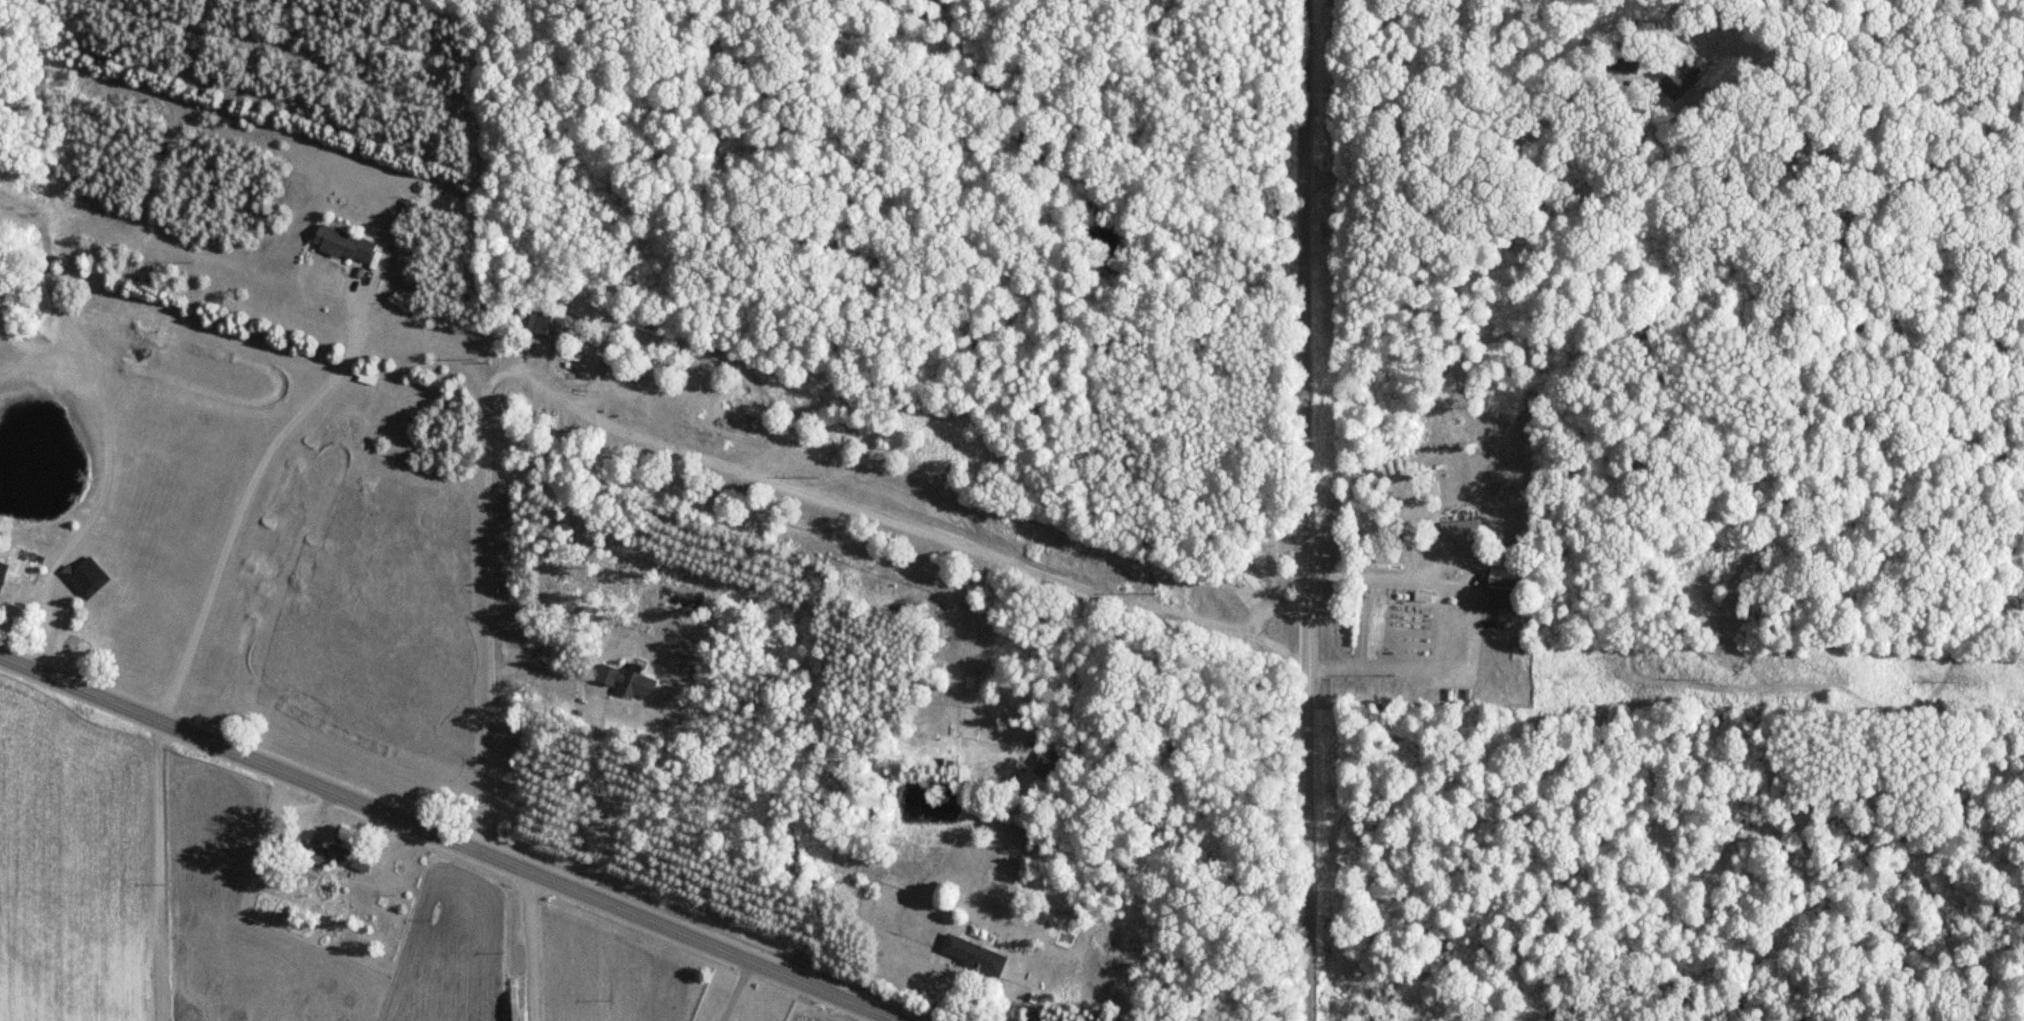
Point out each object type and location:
building: (344, 245)
building: (545, 318)
building: (367, 378)
road: (671, 448)
road: (249, 483)
road: (1311, 510)
building: (1459, 530)
building: (2, 571)
building: (1246, 575)
building: (85, 577)
road: (1432, 578)
building: (1502, 587)
road: (1270, 605)
building: (627, 680)
building: (1046, 764)
road: (608, 797)
road: (456, 839)
building: (348, 859)
building: (974, 955)
road: (732, 988)
road: (896, 1018)

